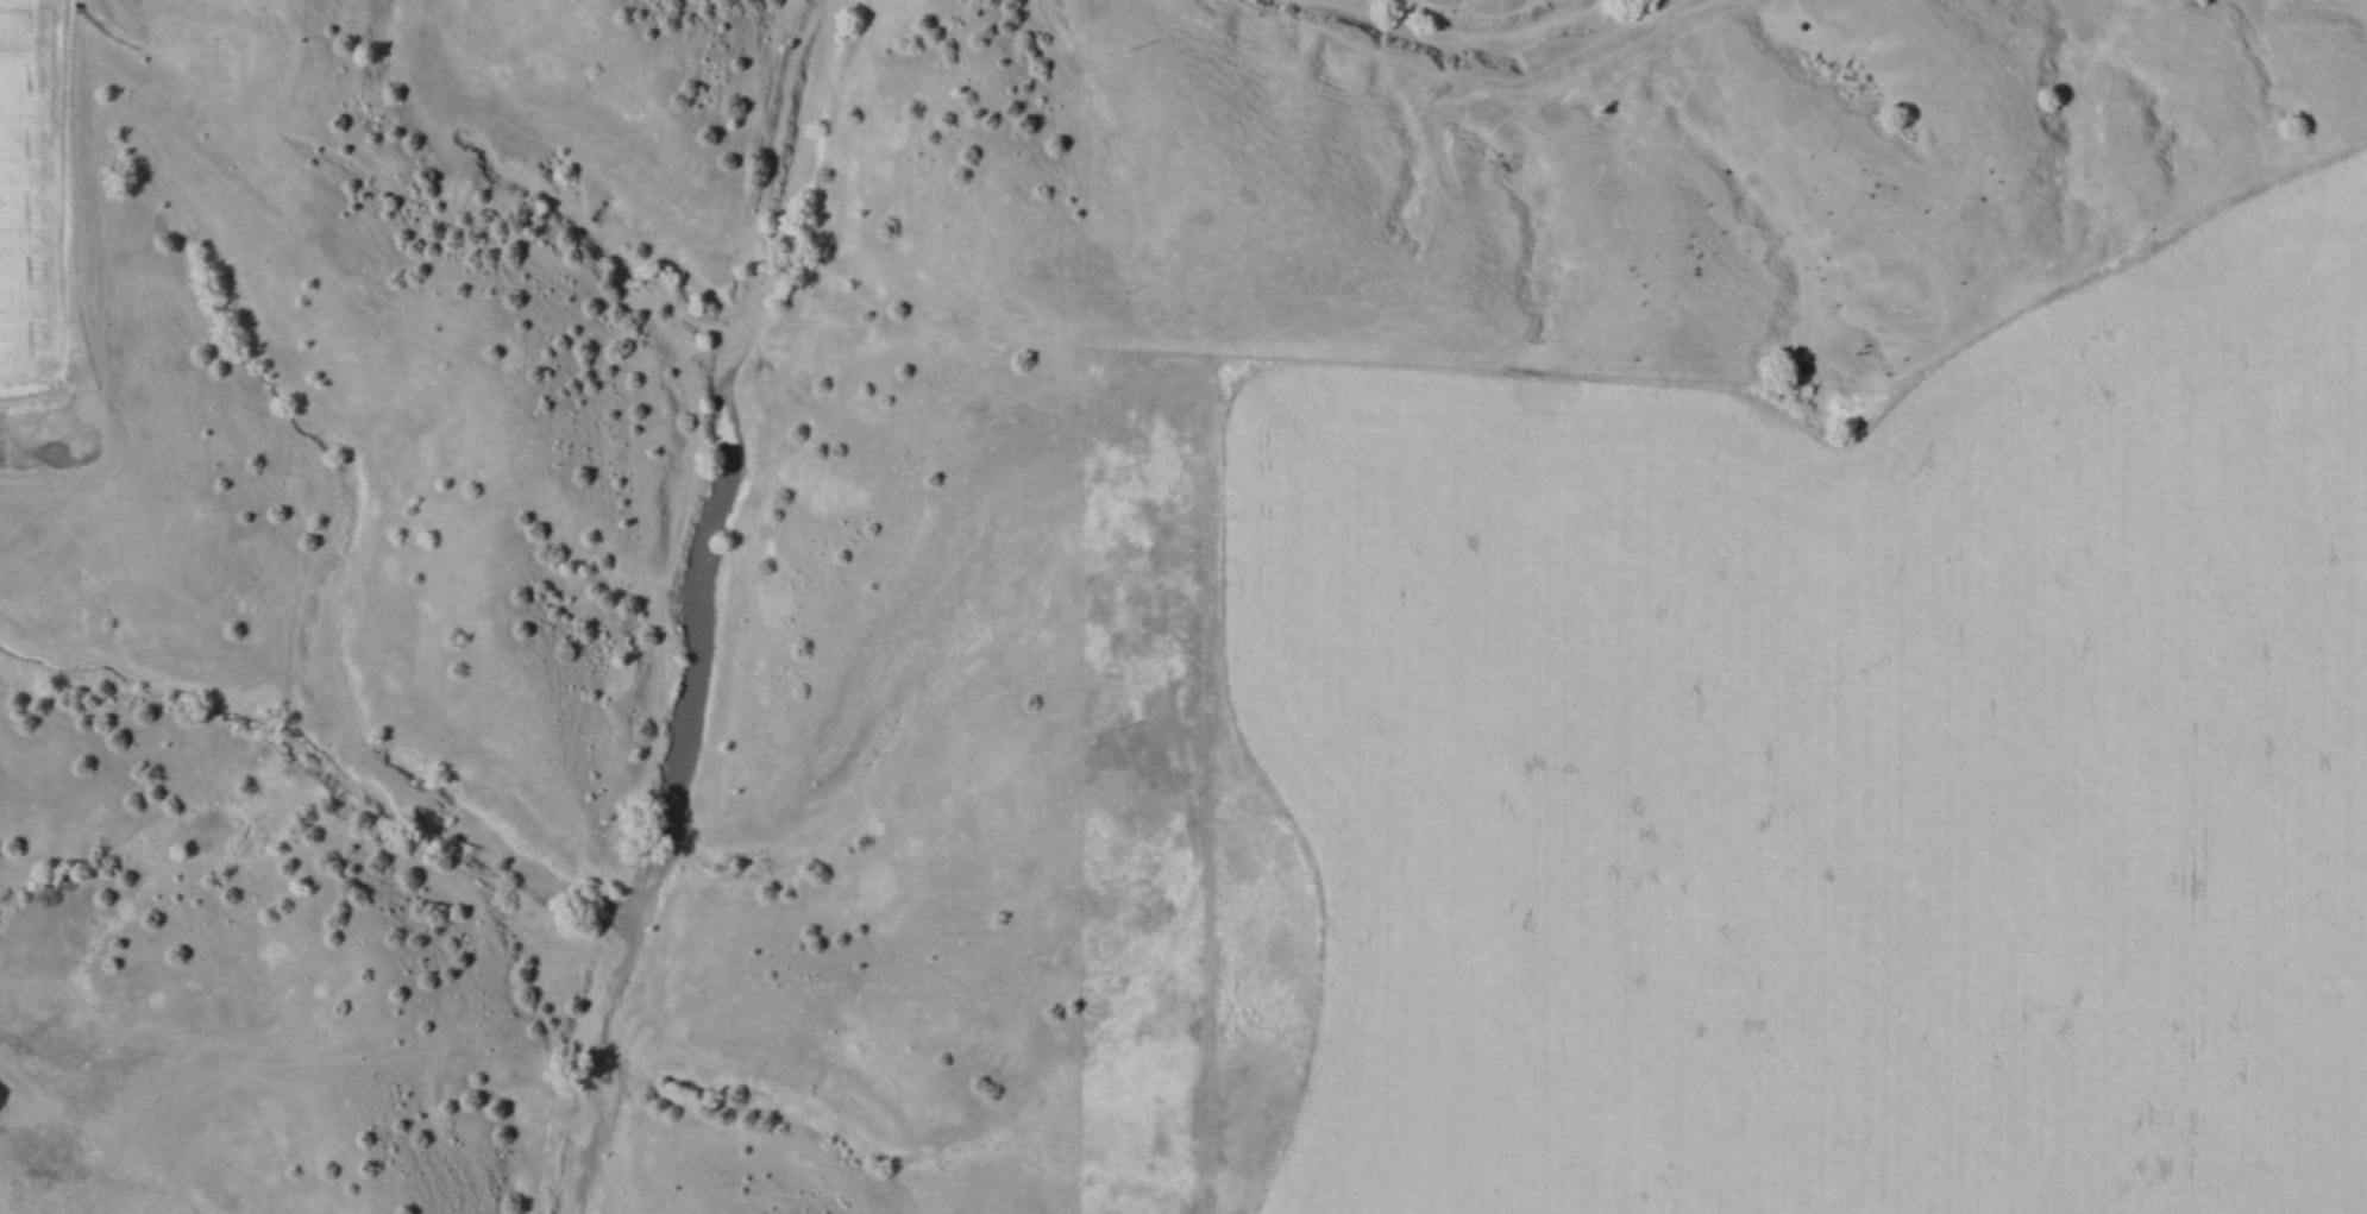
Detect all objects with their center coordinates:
crop: (1837, 761)

